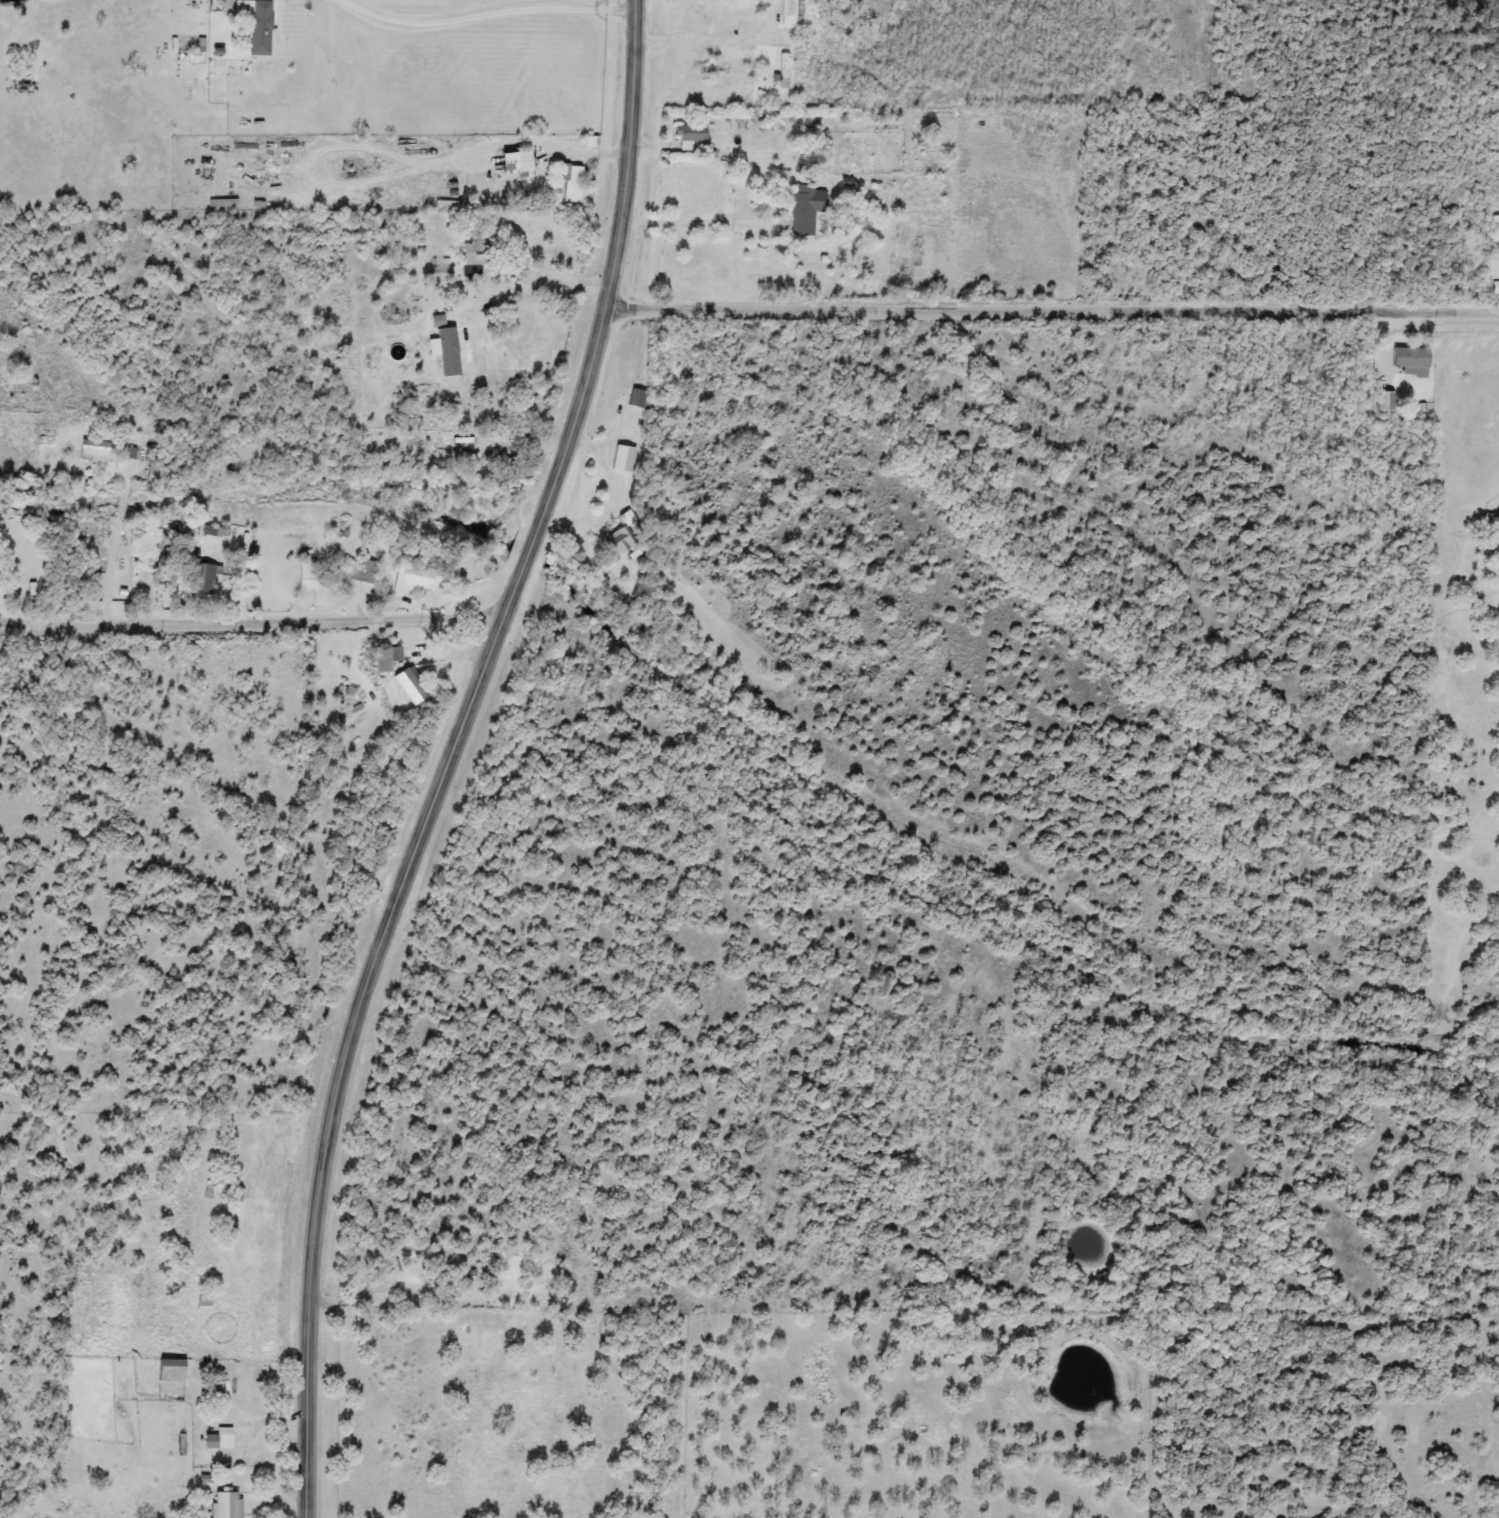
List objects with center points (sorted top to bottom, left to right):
road: (488, 12)
building: (789, 12)
building: (258, 24)
road: (715, 41)
building: (784, 70)
building: (691, 135)
road: (515, 139)
road: (312, 140)
building: (517, 161)
building: (572, 184)
building: (805, 208)
road: (707, 217)
building: (1495, 228)
building: (474, 260)
road: (536, 278)
road: (1055, 308)
building: (1412, 361)
building: (1385, 401)
building: (471, 444)
building: (98, 451)
building: (152, 462)
building: (210, 531)
road: (119, 541)
building: (621, 541)
building: (1496, 549)
building: (363, 571)
building: (317, 576)
building: (415, 577)
building: (202, 579)
road: (253, 622)
building: (387, 659)
building: (411, 687)
road: (453, 756)
building: (171, 1378)
building: (218, 1441)
building: (226, 1504)

